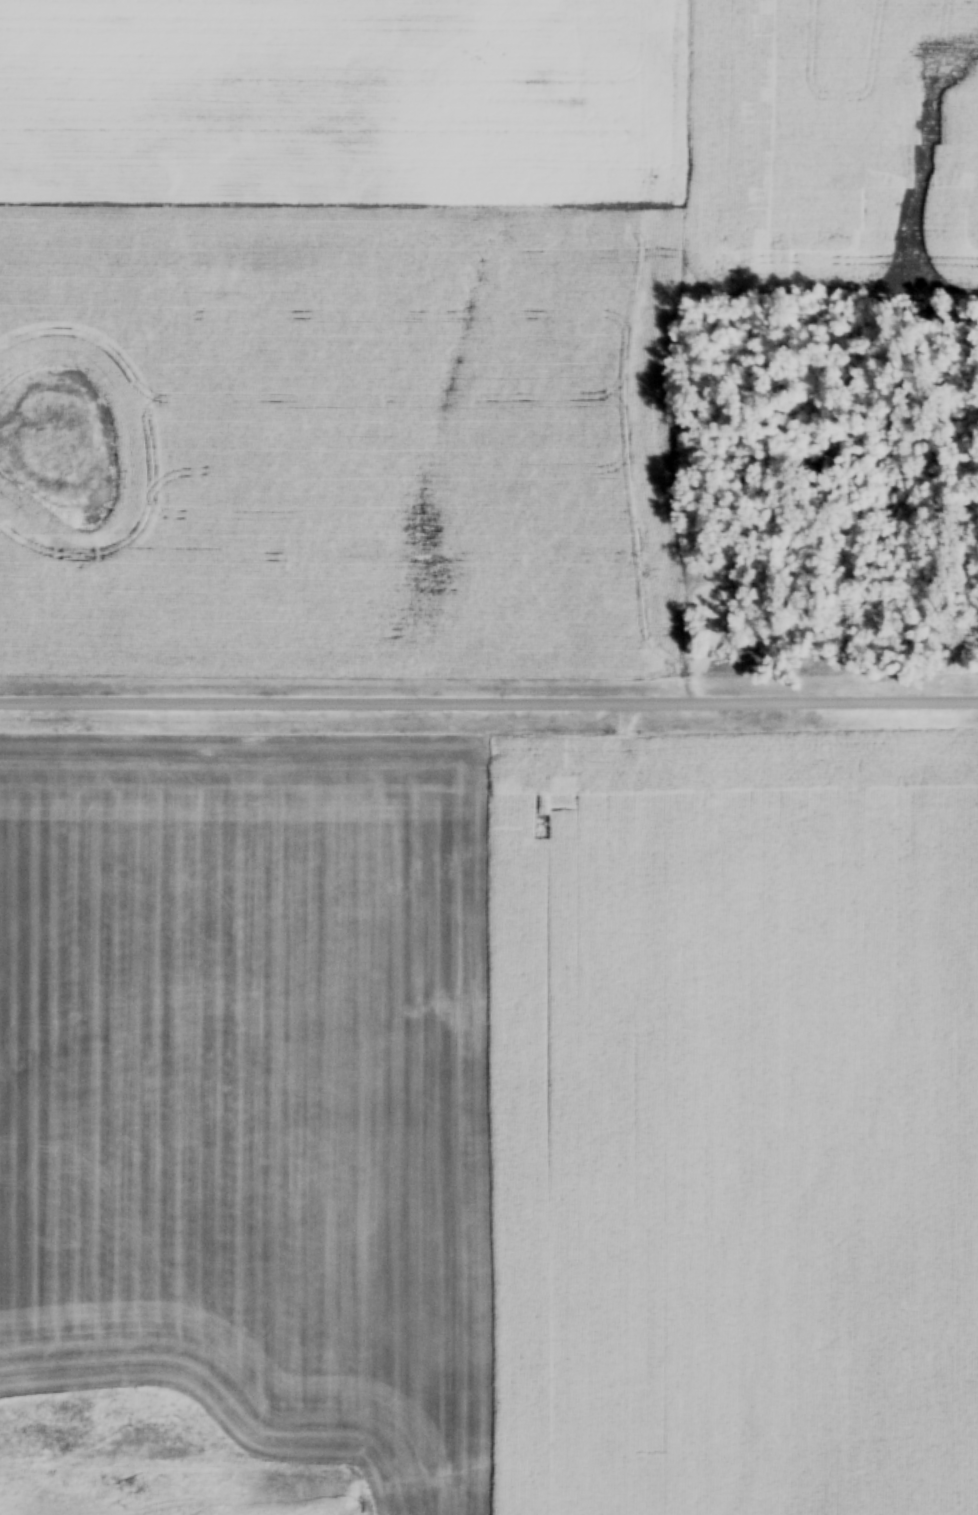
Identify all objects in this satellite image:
road: (489, 700)

